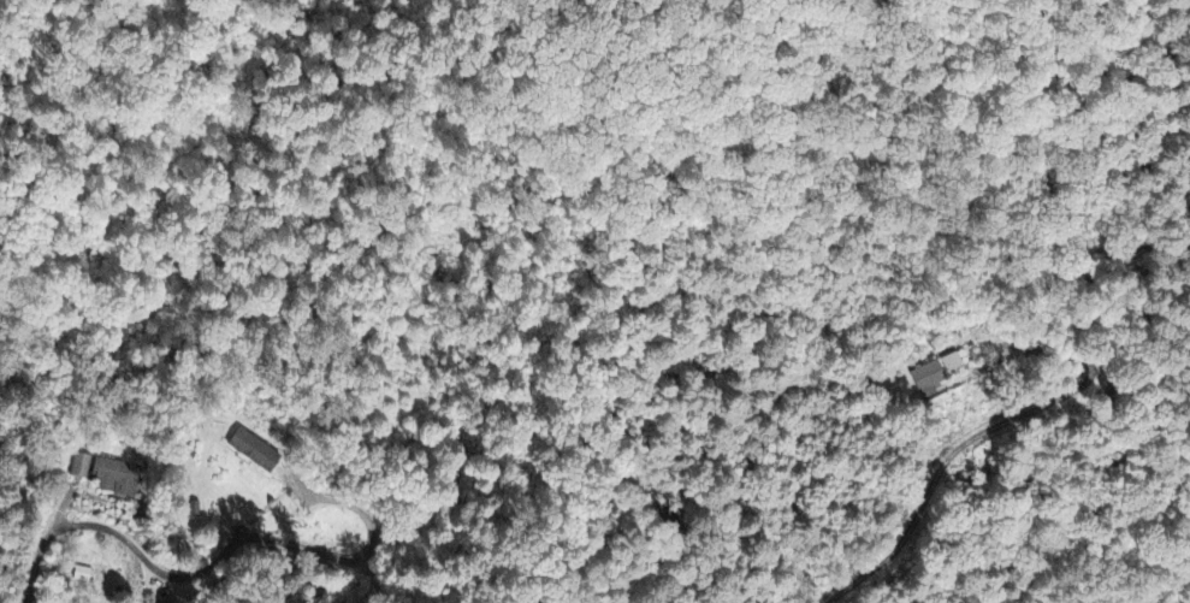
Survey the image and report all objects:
road: (983, 276)
building: (954, 363)
building: (928, 377)
building: (255, 450)
road: (988, 468)
building: (118, 479)
road: (120, 534)
road: (1121, 574)

